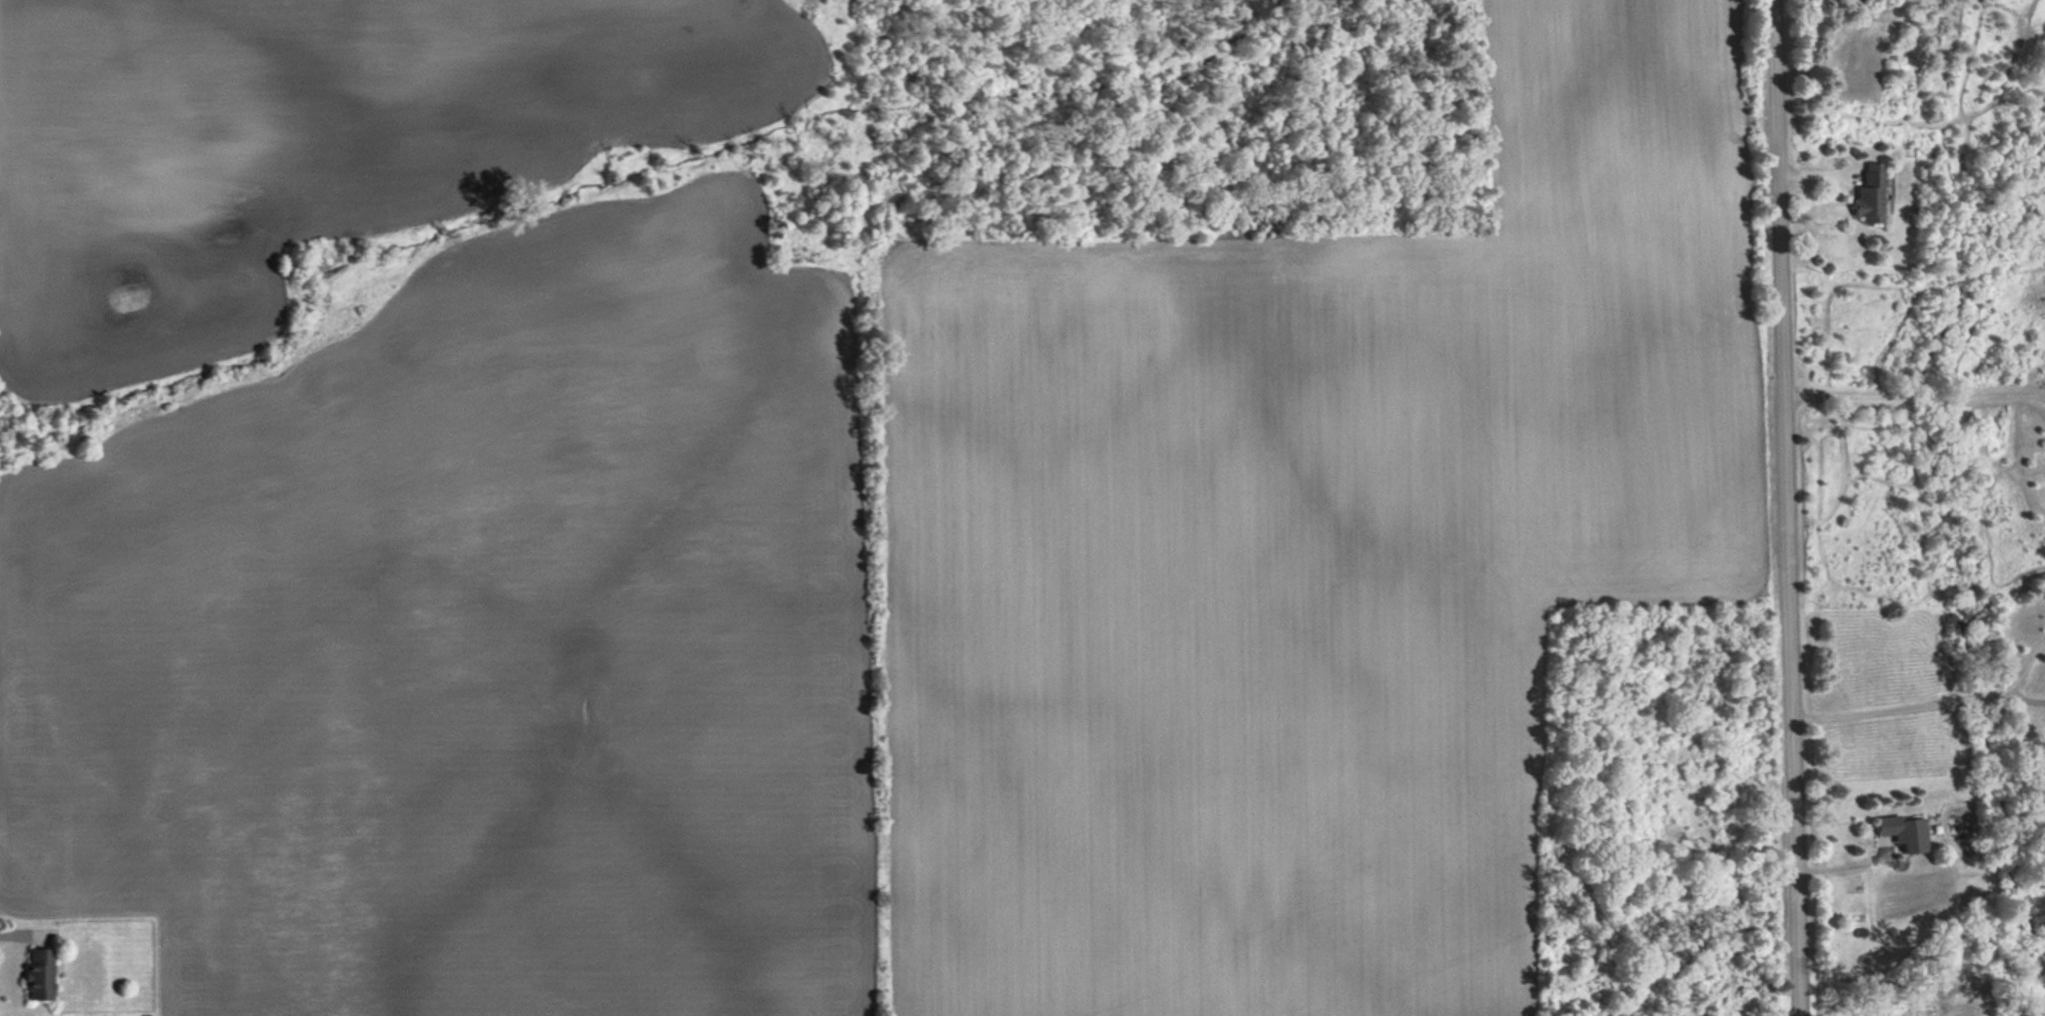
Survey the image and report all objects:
building: (1869, 195)
road: (1914, 400)
road: (1786, 508)
crop: (811, 526)
road: (2026, 666)
road: (2025, 699)
road: (1899, 707)
building: (1903, 832)
road: (1846, 876)
building: (39, 974)

